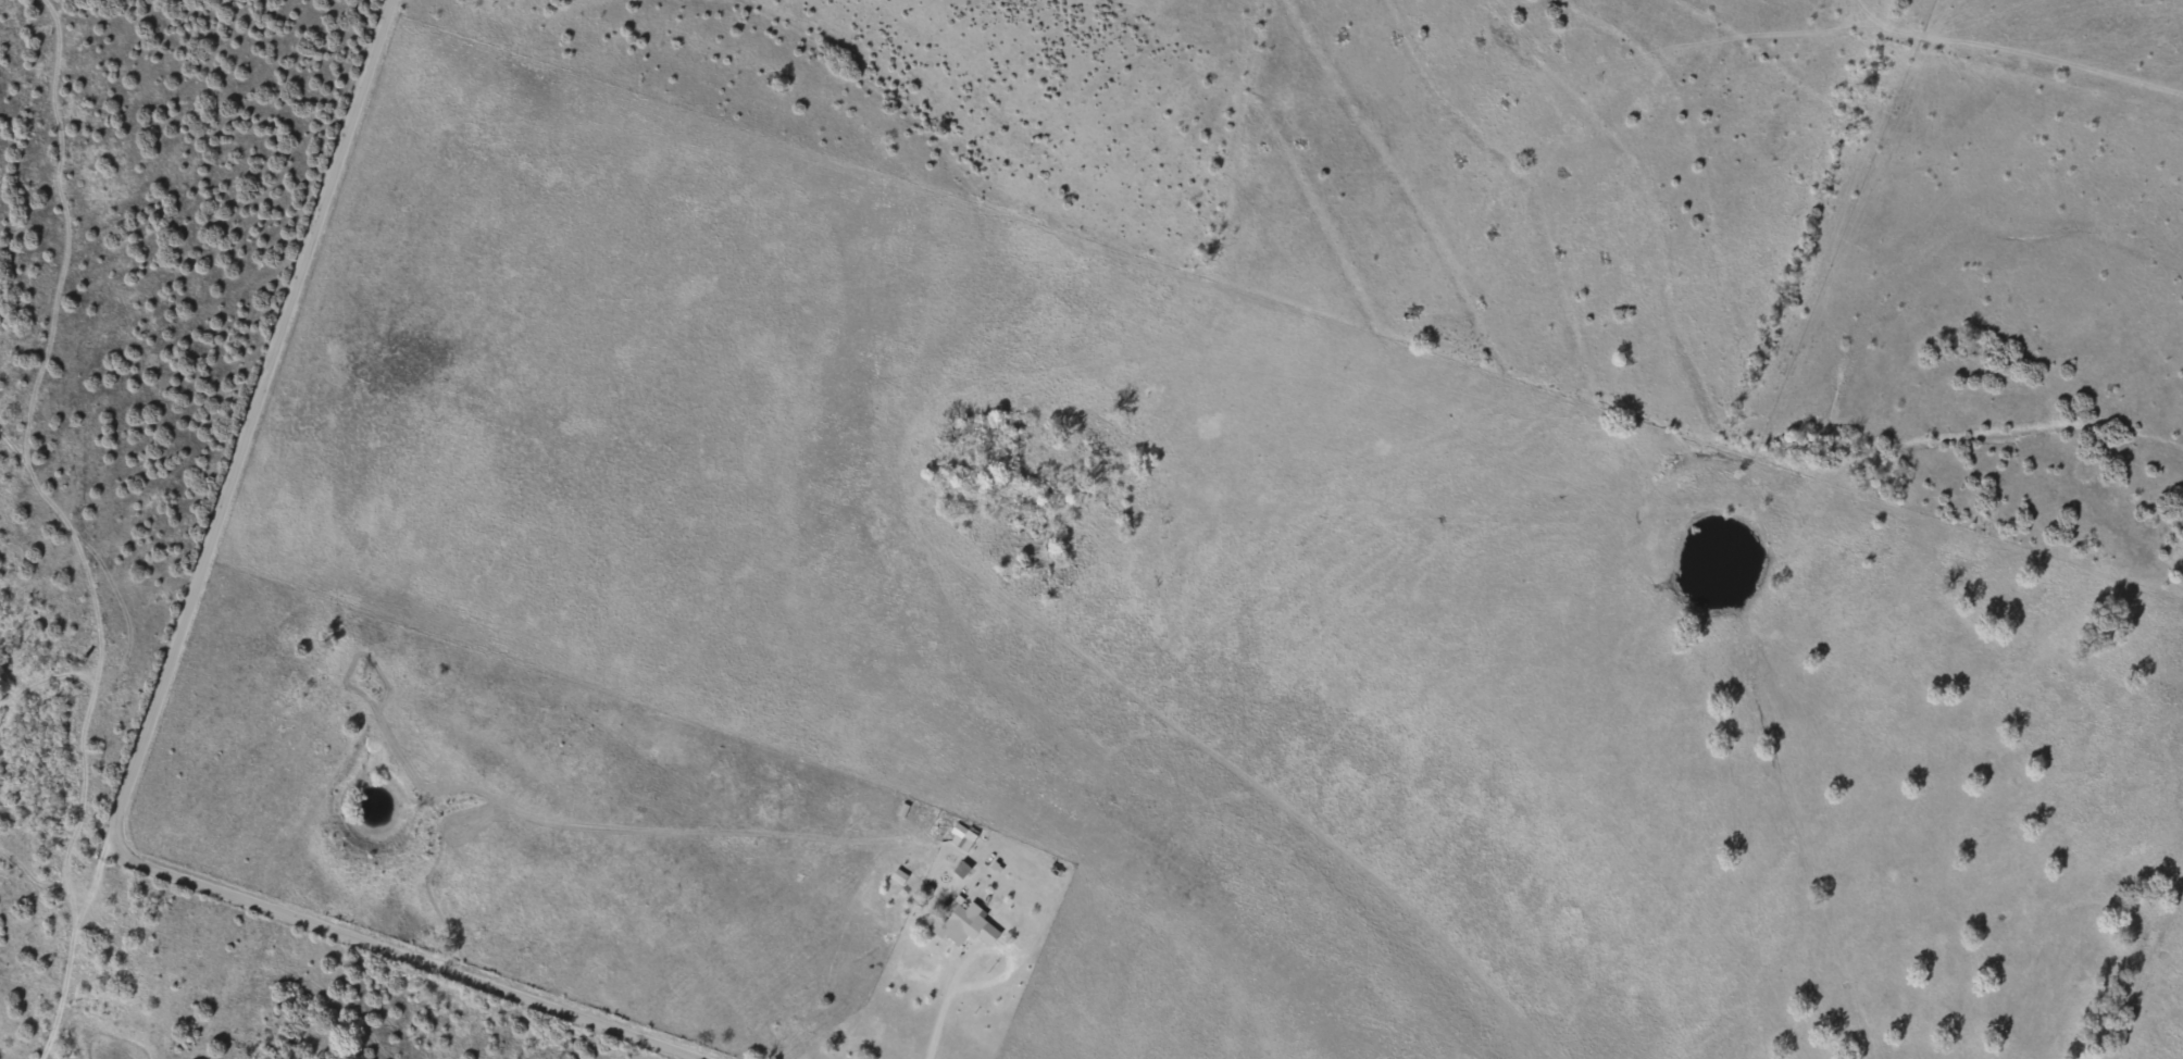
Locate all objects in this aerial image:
road: (245, 420)
building: (968, 924)
road: (79, 951)
road: (401, 956)

